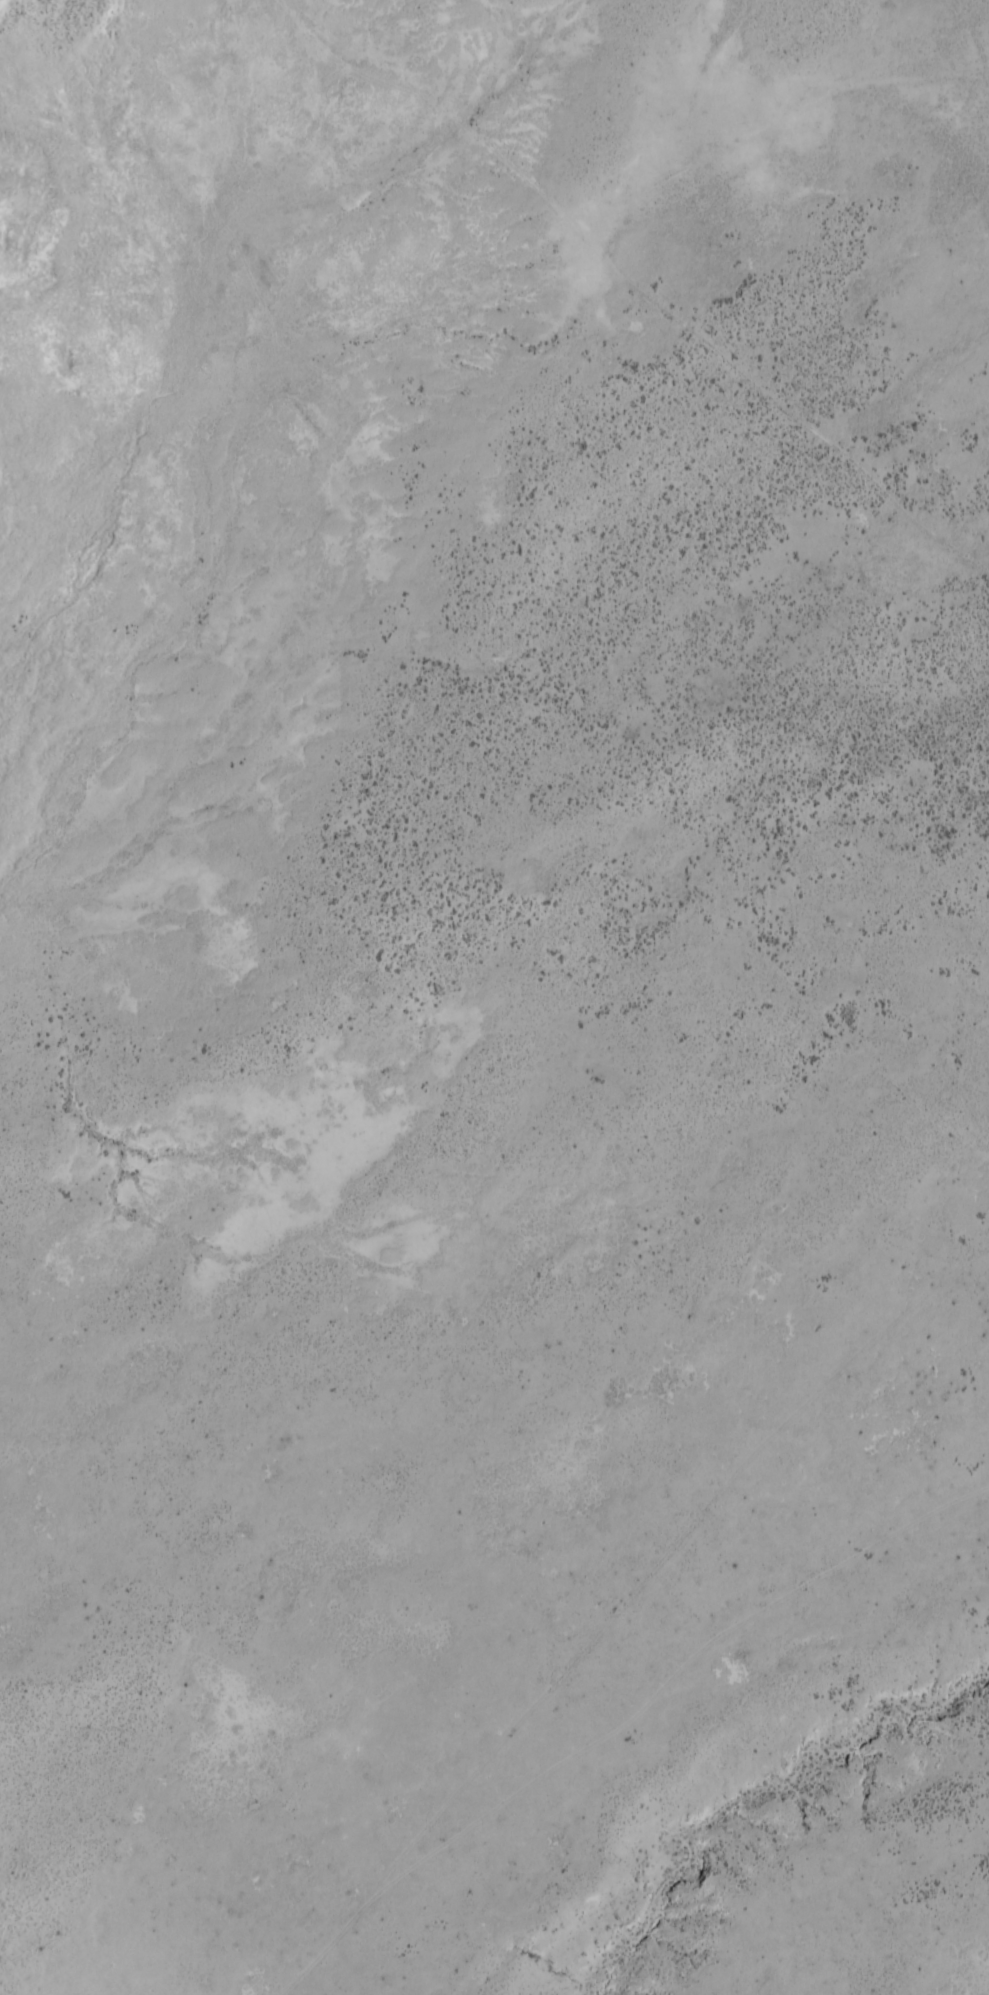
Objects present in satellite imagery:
road: (632, 285)
road: (504, 1217)

